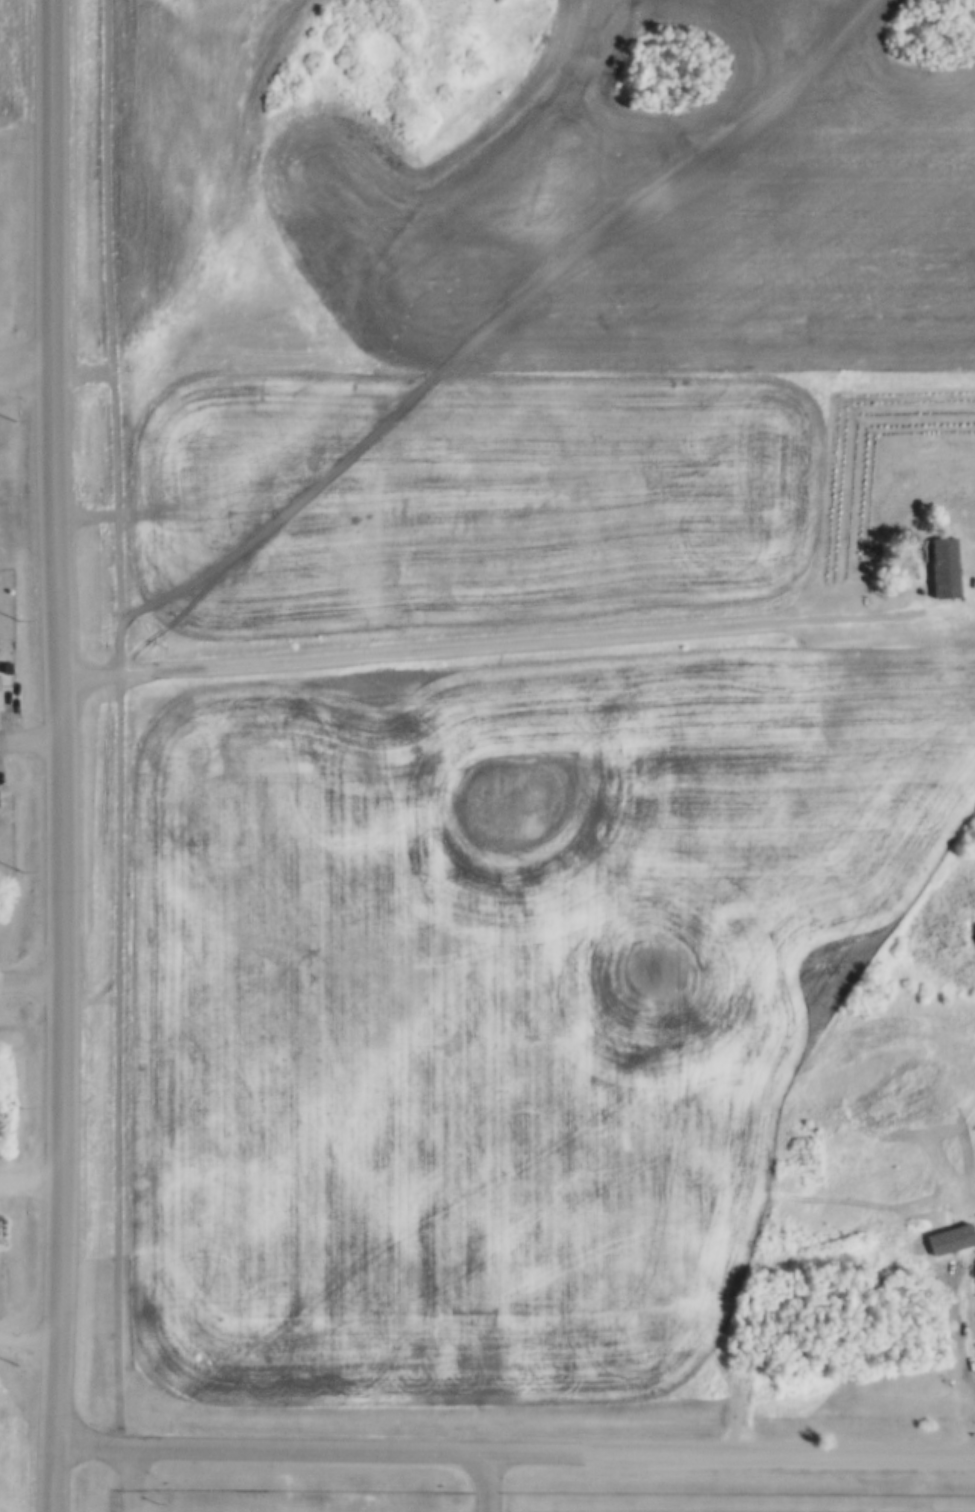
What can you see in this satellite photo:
road: (163, 202)
road: (26, 348)
road: (25, 383)
building: (950, 561)
road: (425, 650)
building: (0, 693)
road: (113, 724)
road: (26, 741)
road: (52, 755)
road: (26, 978)
road: (316, 1450)
road: (778, 1452)
road: (131, 1479)
road: (486, 1481)

